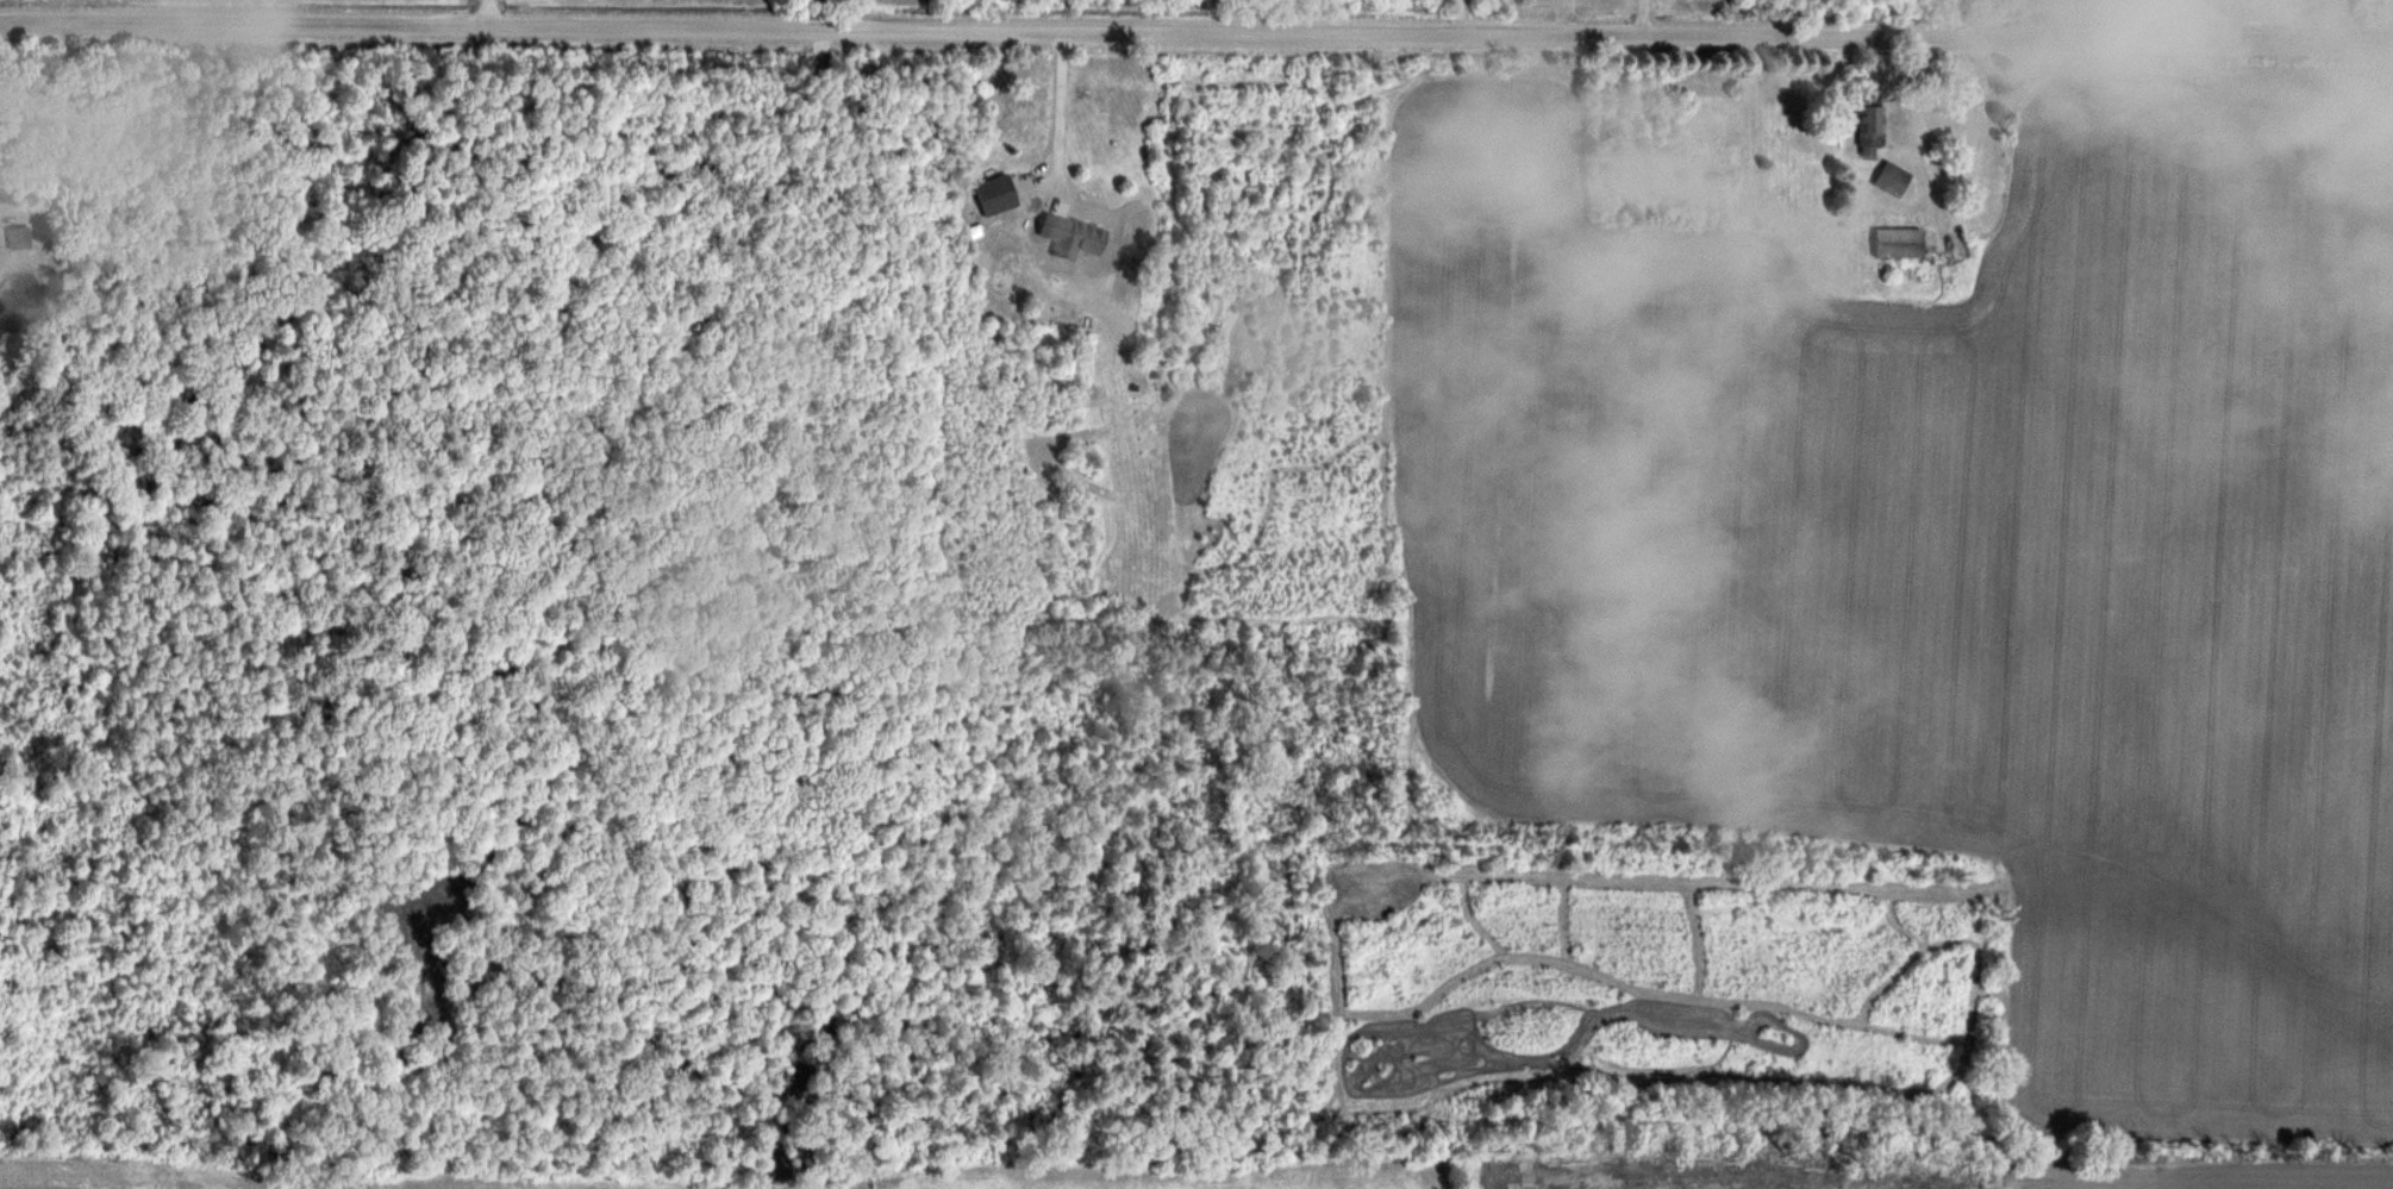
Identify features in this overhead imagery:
road: (1196, 33)
road: (5, 67)
building: (1872, 127)
building: (1893, 177)
building: (996, 193)
road: (11, 207)
building: (1071, 234)
building: (18, 236)
building: (1899, 240)

